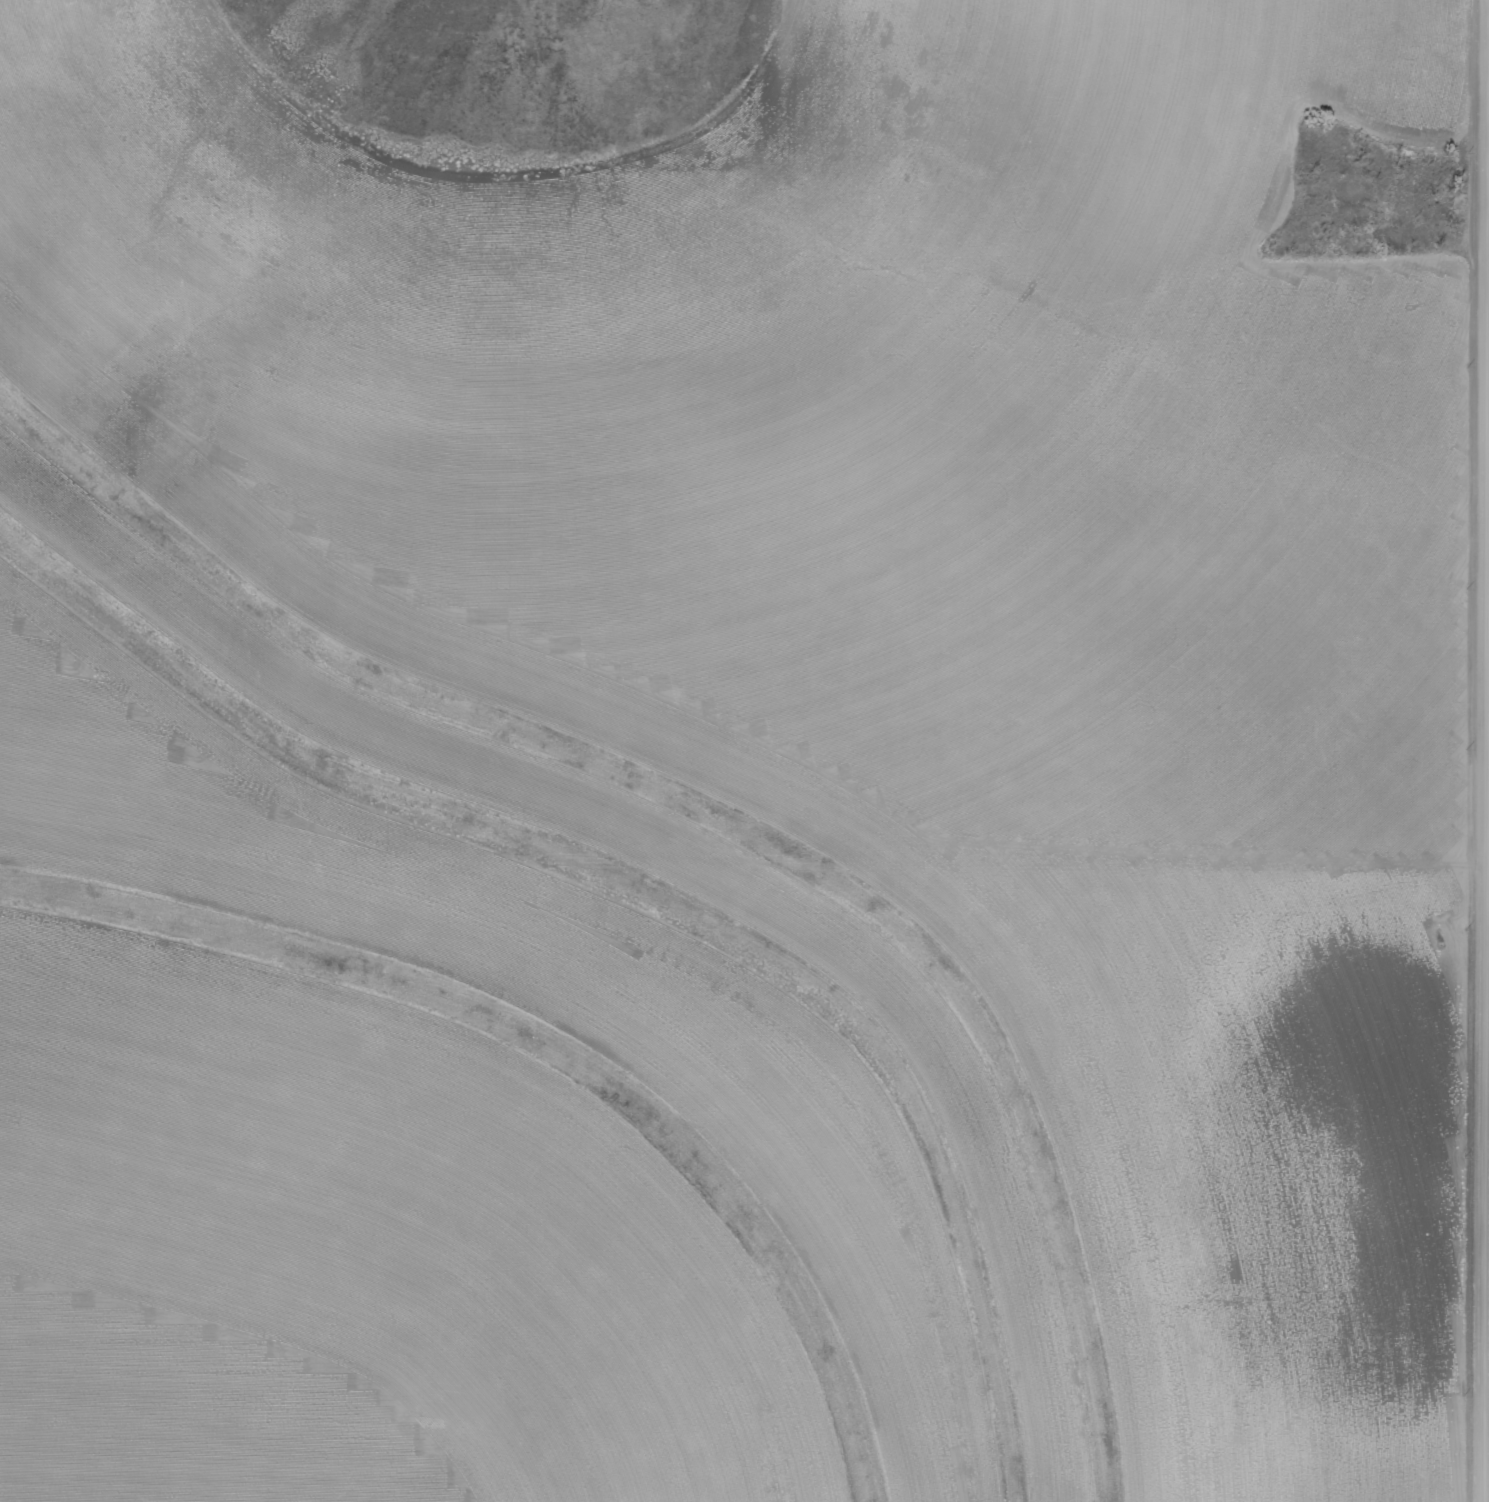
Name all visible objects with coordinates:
road: (1487, 1307)

